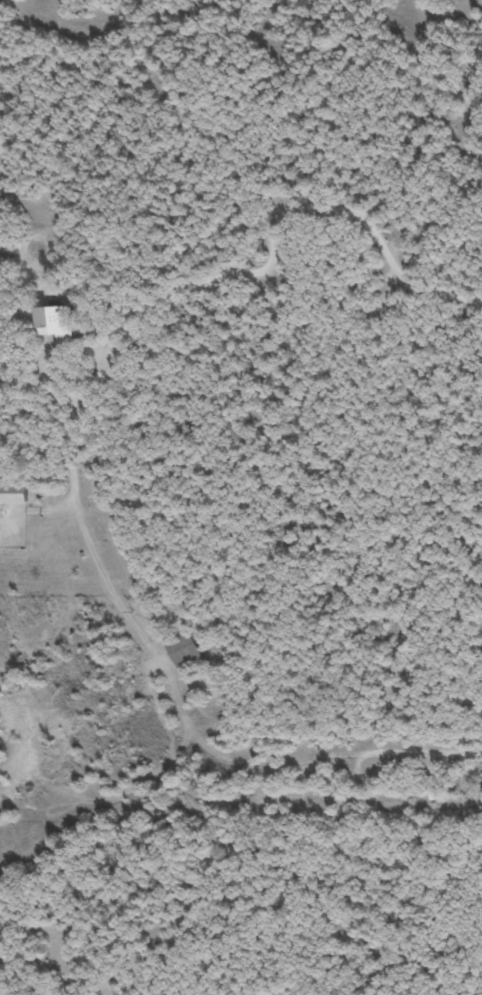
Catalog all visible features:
road: (279, 225)
building: (59, 324)
building: (13, 495)
building: (183, 649)
road: (192, 727)

